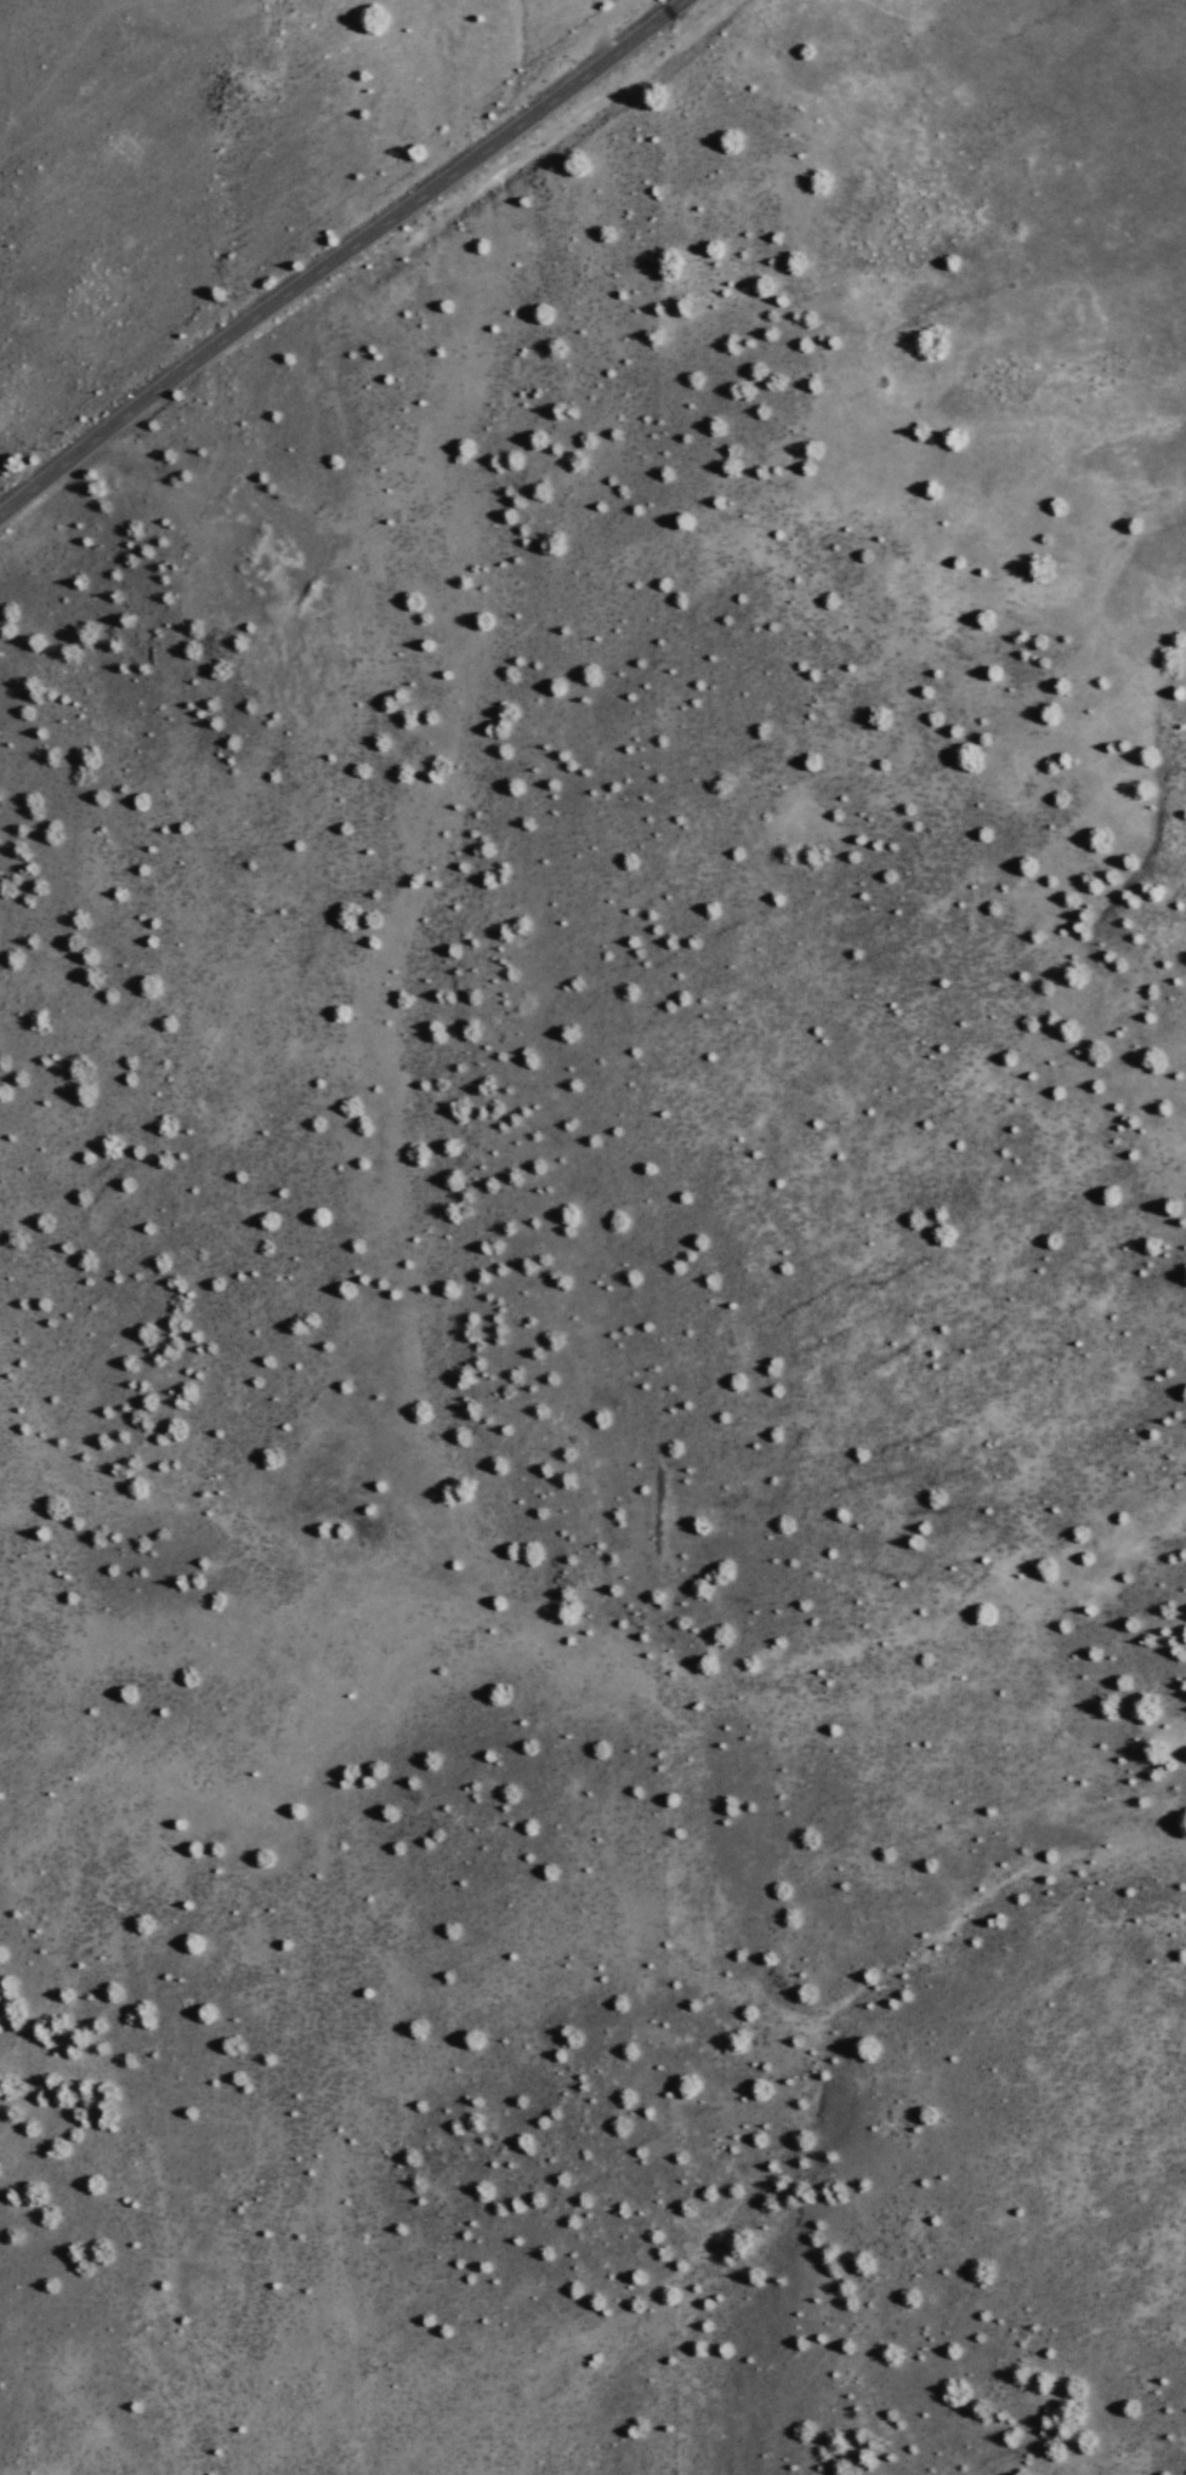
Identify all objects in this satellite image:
road: (347, 263)

